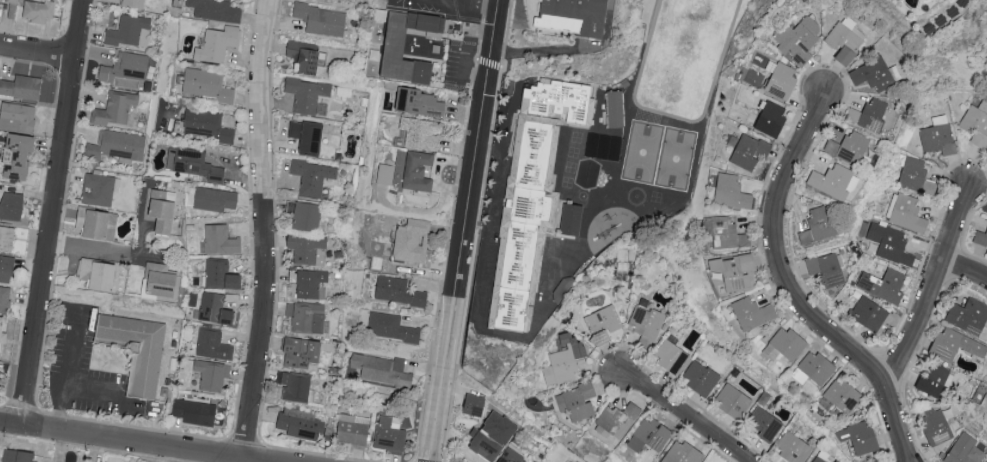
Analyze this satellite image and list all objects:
road: (454, 2)
road: (469, 2)
building: (135, 4)
road: (482, 6)
parking lot: (445, 7)
road: (455, 9)
building: (216, 10)
road: (484, 10)
building: (39, 11)
building: (572, 16)
building: (322, 19)
road: (480, 27)
building: (128, 30)
building: (799, 39)
building: (846, 39)
building: (218, 44)
track: (647, 45)
building: (393, 48)
road: (567, 48)
road: (37, 51)
park: (684, 51)
building: (304, 56)
track: (684, 56)
road: (487, 62)
building: (128, 67)
road: (461, 67)
parking lot: (459, 68)
building: (877, 73)
road: (473, 75)
building: (784, 81)
building: (22, 86)
building: (208, 86)
building: (309, 96)
building: (419, 102)
building: (561, 102)
building: (116, 108)
building: (614, 111)
building: (870, 114)
building: (18, 117)
building: (772, 119)
building: (977, 124)
building: (206, 125)
building: (422, 133)
building: (308, 136)
building: (938, 136)
building: (118, 145)
building: (850, 147)
building: (602, 148)
building: (750, 151)
park: (643, 154)
building: (21, 155)
park: (676, 160)
building: (192, 163)
building: (418, 171)
building: (385, 174)
building: (915, 176)
building: (313, 177)
building: (835, 181)
building: (98, 189)
building: (732, 191)
building: (217, 199)
building: (12, 206)
building: (163, 210)
road: (53, 212)
building: (907, 213)
building: (306, 216)
building: (570, 221)
building: (97, 222)
building: (822, 222)
road: (142, 223)
building: (524, 224)
road: (261, 229)
road: (463, 230)
building: (726, 234)
building: (7, 237)
building: (806, 237)
building: (981, 238)
building: (220, 240)
building: (413, 241)
building: (891, 243)
building: (309, 250)
road: (111, 251)
road: (471, 264)
building: (7, 268)
building: (827, 269)
building: (735, 271)
road: (965, 271)
building: (100, 274)
building: (221, 275)
building: (163, 279)
building: (310, 283)
building: (885, 285)
building: (399, 291)
road: (792, 291)
road: (929, 291)
building: (5, 299)
building: (753, 313)
building: (870, 313)
building: (970, 316)
building: (309, 317)
building: (603, 324)
building: (647, 326)
building: (392, 327)
building: (2, 332)
building: (787, 344)
building: (213, 345)
building: (956, 345)
building: (302, 352)
building: (671, 357)
building: (565, 360)
parking lot: (82, 367)
building: (818, 367)
building: (382, 369)
road: (68, 372)
building: (146, 372)
building: (213, 375)
building: (0, 376)
building: (702, 378)
building: (934, 380)
building: (296, 386)
road: (114, 395)
building: (843, 395)
building: (735, 400)
building: (578, 401)
building: (476, 404)
building: (196, 412)
road: (686, 418)
building: (617, 420)
building: (765, 424)
building: (303, 425)
building: (937, 425)
building: (501, 427)
building: (353, 431)
building: (389, 433)
building: (650, 436)
building: (862, 437)
road: (130, 442)
building: (486, 446)
building: (794, 448)
building: (964, 450)
building: (683, 453)
building: (19, 456)
building: (511, 456)
building: (819, 459)
road: (237, 460)
building: (836, 461)
building: (986, 461)

